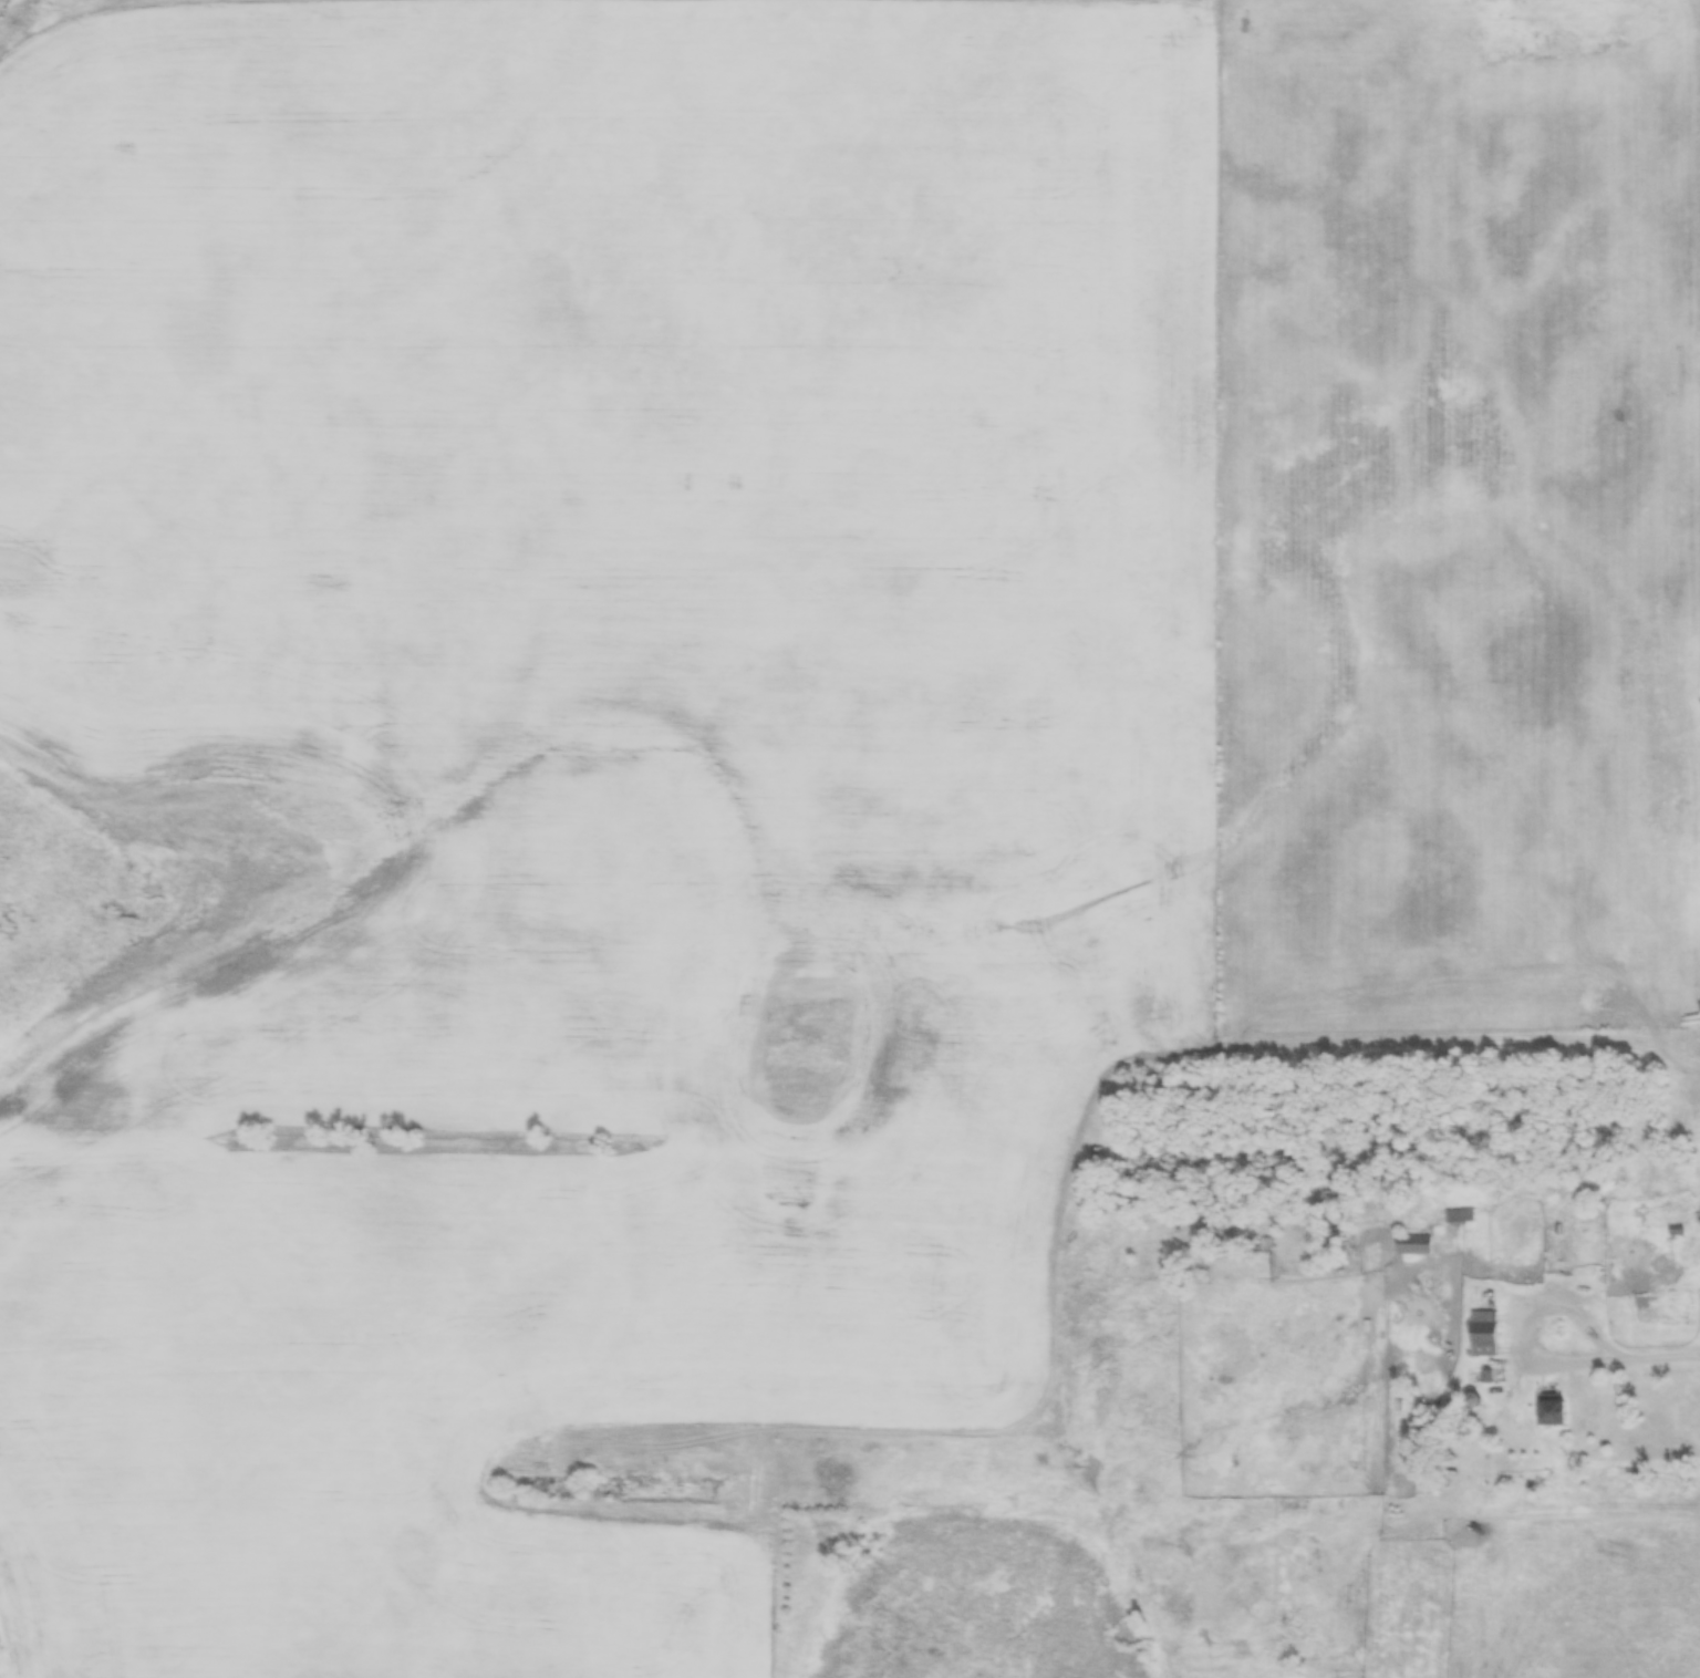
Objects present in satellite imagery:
building: (1460, 1216)
building: (1413, 1245)
road: (1524, 1333)
building: (1484, 1335)
building: (1433, 1356)
road: (1660, 1361)
building: (1553, 1412)

